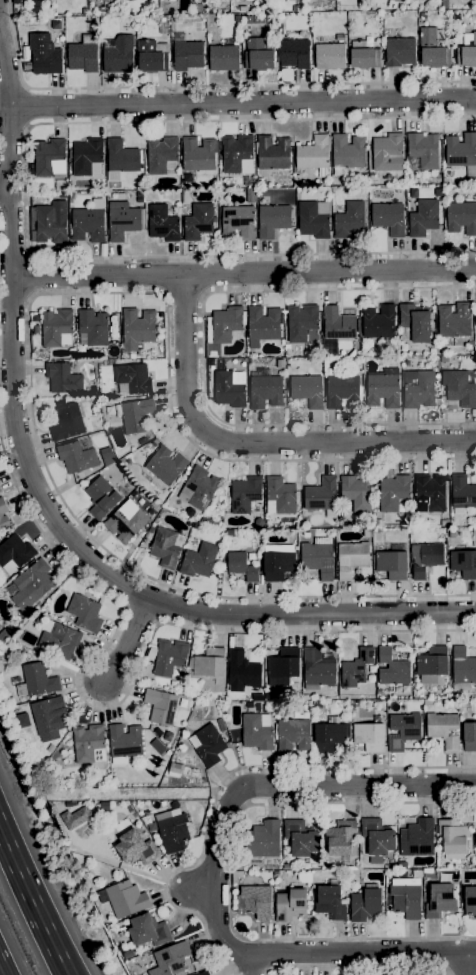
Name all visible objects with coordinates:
building: (16, 1)
building: (445, 4)
building: (36, 5)
building: (200, 7)
building: (295, 7)
building: (240, 9)
building: (84, 11)
building: (91, 12)
building: (17, 14)
building: (423, 14)
building: (167, 16)
building: (280, 16)
building: (237, 18)
building: (247, 19)
building: (340, 37)
building: (433, 48)
building: (399, 51)
building: (26, 53)
building: (294, 53)
building: (467, 53)
building: (44, 54)
building: (83, 54)
building: (118, 54)
building: (258, 54)
building: (188, 55)
building: (363, 55)
building: (152, 56)
building: (330, 56)
building: (223, 58)
building: (27, 65)
road: (206, 84)
road: (242, 101)
road: (28, 107)
building: (423, 149)
building: (348, 151)
building: (387, 152)
building: (461, 152)
building: (69, 153)
building: (272, 153)
building: (162, 154)
building: (198, 154)
building: (237, 154)
building: (313, 154)
building: (86, 155)
building: (121, 156)
building: (49, 157)
road: (4, 187)
road: (26, 190)
building: (250, 195)
building: (423, 217)
building: (461, 217)
building: (388, 218)
building: (313, 219)
building: (272, 220)
building: (350, 220)
building: (199, 221)
building: (51, 222)
building: (123, 222)
building: (237, 222)
building: (162, 223)
building: (87, 224)
building: (102, 249)
road: (243, 274)
road: (30, 276)
building: (475, 313)
building: (454, 319)
building: (301, 321)
building: (337, 323)
building: (379, 323)
building: (413, 323)
building: (224, 324)
building: (262, 325)
building: (92, 327)
building: (137, 327)
building: (56, 328)
building: (35, 329)
road: (30, 337)
building: (462, 341)
building: (470, 344)
building: (81, 349)
building: (71, 351)
building: (432, 351)
road: (204, 352)
building: (44, 354)
building: (443, 358)
building: (101, 362)
building: (279, 363)
building: (437, 376)
building: (62, 378)
building: (132, 378)
building: (458, 387)
building: (229, 388)
building: (264, 388)
building: (307, 389)
building: (341, 389)
building: (382, 390)
building: (419, 390)
building: (134, 414)
building: (66, 421)
building: (142, 441)
road: (258, 443)
building: (107, 455)
building: (76, 457)
building: (164, 468)
building: (184, 477)
building: (127, 485)
building: (198, 488)
building: (393, 490)
building: (431, 490)
building: (356, 492)
building: (462, 492)
building: (245, 493)
building: (280, 495)
building: (321, 496)
building: (101, 497)
building: (176, 502)
road: (45, 505)
building: (2, 512)
building: (151, 513)
building: (405, 517)
building: (126, 522)
building: (210, 522)
building: (167, 547)
building: (14, 553)
building: (353, 556)
building: (318, 557)
building: (425, 558)
building: (199, 560)
building: (463, 563)
building: (391, 564)
building: (277, 565)
building: (242, 566)
building: (32, 584)
building: (85, 613)
building: (38, 619)
building: (4, 635)
building: (57, 639)
road: (129, 643)
building: (10, 647)
building: (169, 657)
building: (432, 661)
building: (284, 662)
building: (207, 663)
building: (356, 667)
building: (317, 669)
building: (392, 669)
building: (462, 669)
building: (242, 671)
building: (34, 680)
road: (127, 689)
building: (160, 706)
building: (47, 714)
building: (220, 724)
building: (257, 729)
building: (443, 729)
building: (403, 730)
building: (329, 734)
building: (292, 735)
building: (369, 736)
building: (469, 736)
building: (124, 741)
building: (89, 743)
building: (207, 744)
building: (157, 746)
building: (175, 768)
building: (175, 776)
road: (225, 776)
road: (359, 786)
building: (76, 817)
building: (152, 826)
building: (174, 828)
building: (377, 836)
building: (300, 837)
building: (341, 837)
building: (417, 837)
building: (453, 838)
building: (475, 838)
building: (263, 839)
building: (133, 843)
road: (121, 866)
road: (230, 874)
building: (235, 875)
road: (216, 877)
road: (200, 888)
building: (123, 898)
building: (406, 900)
building: (440, 900)
building: (255, 901)
building: (470, 901)
road: (33, 902)
building: (330, 902)
building: (365, 903)
building: (290, 905)
building: (148, 930)
road: (363, 952)
building: (127, 954)
building: (170, 960)
road: (465, 963)
road: (249, 964)
road: (358, 965)
road: (461, 970)
road: (0, 973)
building: (203, 973)

